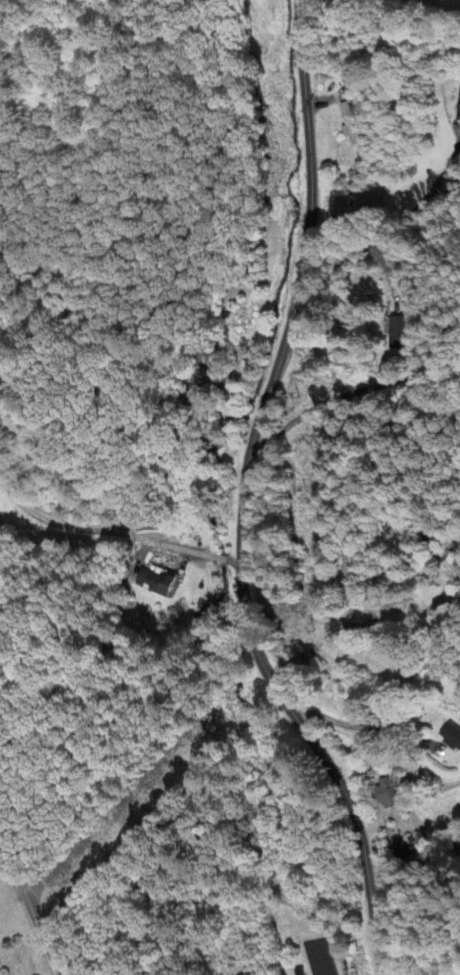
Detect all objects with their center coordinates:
building: (459, 106)
building: (350, 123)
building: (403, 333)
road: (245, 499)
road: (115, 534)
building: (155, 583)
building: (451, 736)
building: (387, 795)
park: (16, 937)

